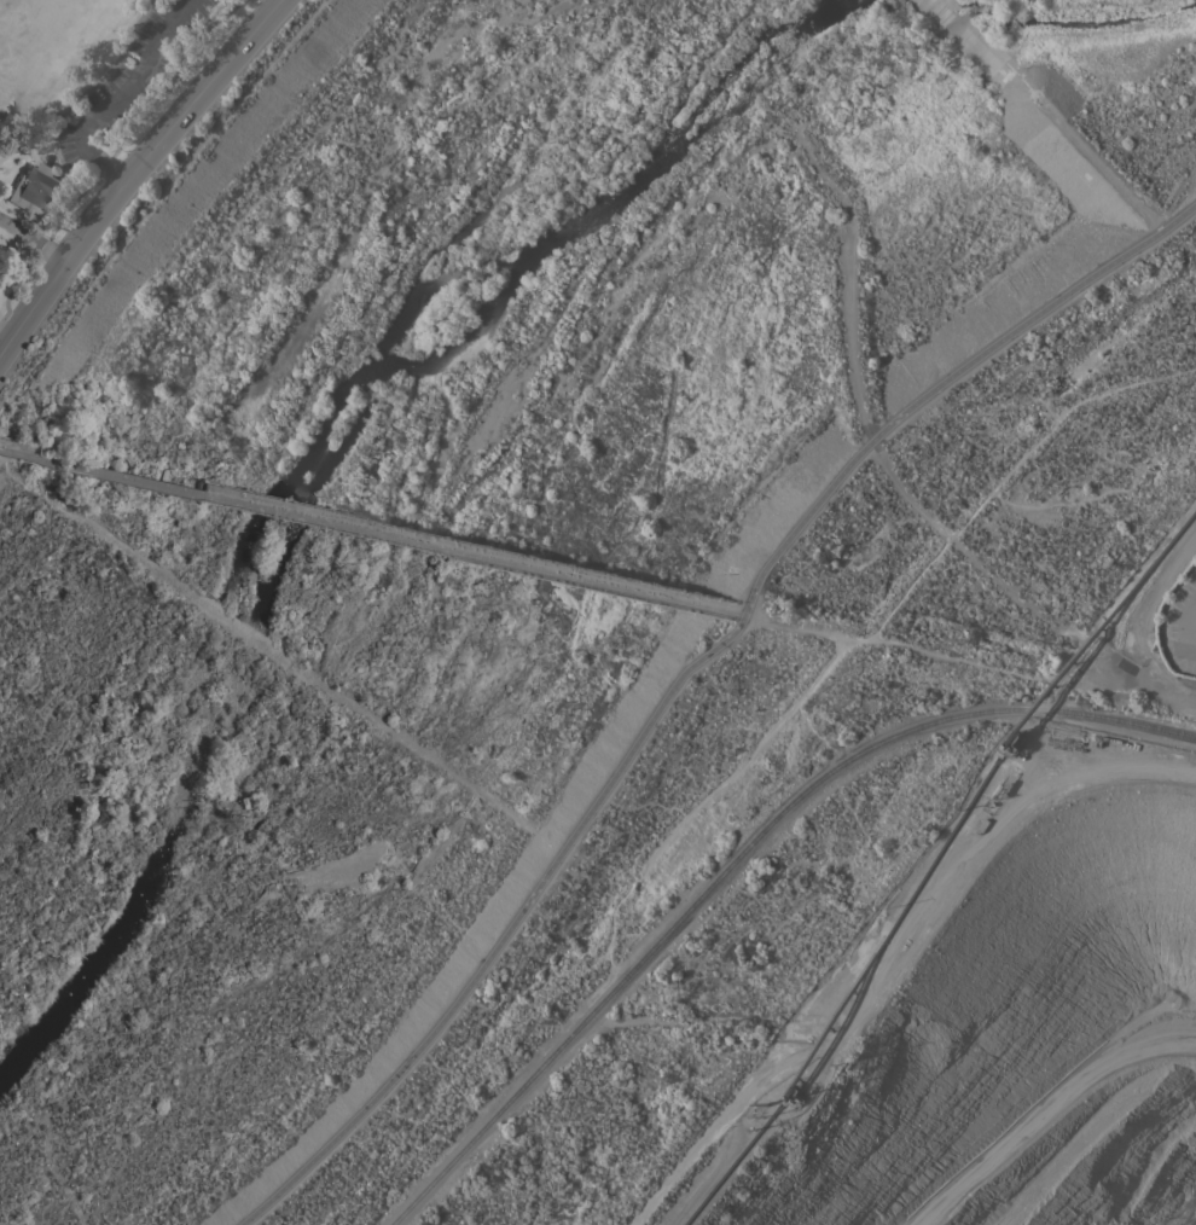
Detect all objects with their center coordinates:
park: (33, 41)
parking lot: (128, 80)
road: (88, 91)
park: (83, 101)
road: (123, 141)
road: (135, 178)
building: (33, 187)
road: (144, 215)
road: (940, 381)
road: (6, 400)
river: (303, 470)
road: (362, 533)
road: (733, 615)
road: (1189, 615)
parking lot: (1179, 621)
road: (1189, 627)
railway: (741, 857)
road: (628, 888)
road: (505, 931)
quarry: (1018, 1028)

